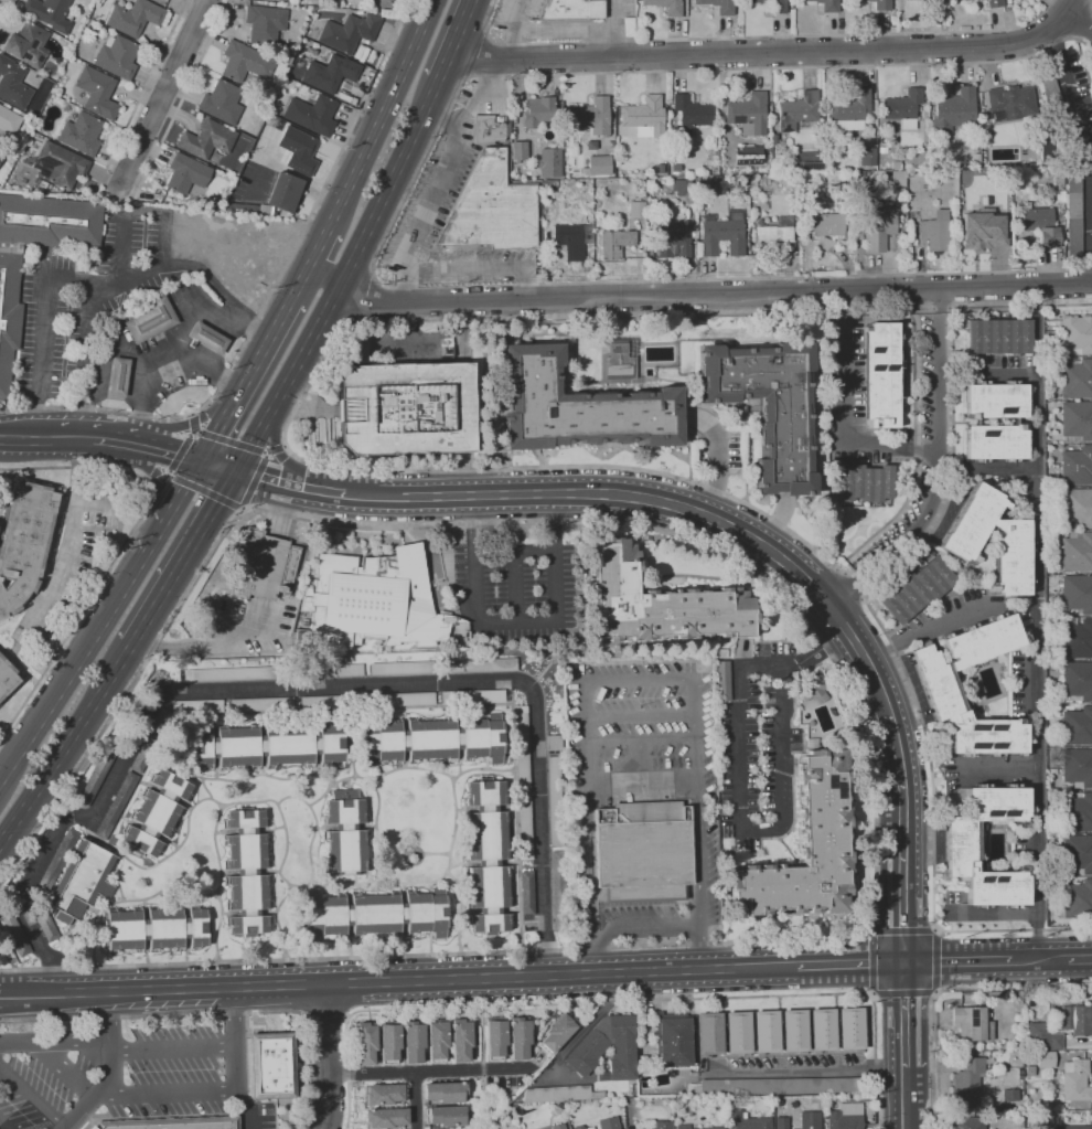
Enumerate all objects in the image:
building: (965, 0)
building: (994, 3)
building: (825, 4)
building: (881, 4)
building: (936, 4)
building: (665, 6)
building: (718, 6)
building: (773, 6)
road: (1066, 6)
road: (4, 9)
building: (571, 9)
building: (50, 13)
building: (135, 17)
road: (1078, 22)
building: (265, 23)
road: (612, 28)
road: (546, 31)
building: (349, 32)
road: (754, 35)
road: (456, 40)
building: (28, 44)
road: (516, 44)
road: (762, 53)
building: (117, 56)
building: (244, 62)
building: (331, 73)
building: (12, 84)
building: (97, 92)
road: (141, 95)
road: (185, 95)
road: (162, 97)
building: (222, 102)
building: (1009, 103)
building: (67, 108)
building: (902, 108)
road: (384, 110)
building: (954, 110)
building: (537, 111)
building: (690, 111)
building: (796, 111)
building: (849, 111)
building: (1057, 111)
building: (312, 114)
building: (748, 114)
road: (1080, 115)
road: (438, 116)
building: (589, 116)
building: (644, 116)
building: (9, 120)
building: (490, 128)
building: (983, 128)
building: (81, 132)
building: (31, 136)
building: (38, 136)
building: (977, 137)
building: (207, 139)
building: (773, 139)
building: (984, 145)
building: (769, 148)
building: (299, 149)
building: (518, 150)
building: (882, 150)
building: (921, 150)
building: (1, 155)
building: (867, 157)
building: (756, 159)
building: (880, 159)
building: (548, 162)
building: (58, 164)
building: (599, 164)
building: (895, 164)
building: (812, 166)
building: (660, 168)
building: (186, 172)
building: (859, 173)
road: (441, 174)
building: (720, 179)
building: (849, 179)
building: (820, 180)
building: (897, 182)
building: (866, 185)
building: (682, 187)
building: (704, 188)
building: (286, 193)
building: (1059, 195)
building: (818, 200)
building: (251, 207)
building: (491, 209)
building: (636, 210)
building: (1073, 215)
road: (398, 217)
building: (1040, 226)
building: (831, 228)
building: (878, 230)
building: (983, 230)
building: (935, 232)
building: (724, 233)
building: (773, 235)
building: (572, 238)
building: (672, 242)
road: (321, 243)
building: (614, 243)
road: (480, 268)
building: (9, 275)
road: (342, 278)
road: (93, 281)
road: (300, 283)
road: (697, 292)
road: (268, 299)
road: (956, 306)
road: (1027, 306)
road: (941, 307)
building: (150, 320)
road: (1036, 331)
building: (1075, 334)
building: (998, 335)
building: (207, 338)
road: (119, 349)
road: (162, 352)
gas station: (169, 354)
building: (620, 360)
road: (89, 361)
road: (206, 369)
building: (881, 375)
building: (118, 376)
road: (987, 376)
building: (1077, 380)
road: (245, 381)
road: (309, 390)
building: (768, 406)
building: (579, 407)
building: (406, 408)
road: (192, 414)
building: (1017, 420)
building: (1075, 422)
road: (192, 423)
road: (189, 424)
road: (192, 430)
road: (842, 433)
road: (44, 440)
road: (111, 441)
road: (283, 444)
road: (240, 445)
road: (913, 448)
road: (277, 452)
road: (168, 454)
road: (180, 454)
traffic signals: (201, 462)
road: (218, 467)
building: (1077, 467)
road: (938, 468)
road: (987, 468)
traffic signals: (236, 471)
road: (169, 475)
road: (171, 477)
road: (159, 479)
road: (253, 480)
road: (291, 483)
building: (865, 483)
road: (149, 484)
road: (161, 486)
road: (206, 492)
building: (1077, 508)
road: (171, 509)
road: (702, 509)
road: (244, 510)
road: (281, 511)
road: (68, 537)
building: (962, 539)
flagpole: (286, 540)
building: (24, 541)
road: (120, 550)
building: (1077, 553)
road: (183, 558)
road: (514, 565)
building: (264, 566)
road: (844, 572)
road: (850, 585)
building: (917, 589)
building: (1078, 594)
road: (863, 598)
building: (374, 600)
building: (657, 601)
road: (794, 607)
road: (516, 620)
road: (927, 628)
road: (814, 632)
road: (212, 637)
building: (1077, 639)
building: (456, 642)
road: (823, 648)
building: (720, 653)
building: (478, 665)
building: (402, 668)
road: (1037, 668)
road: (73, 670)
building: (329, 673)
building: (231, 674)
building: (6, 678)
road: (909, 678)
road: (636, 679)
building: (722, 680)
building: (1077, 680)
road: (308, 686)
building: (813, 689)
road: (848, 689)
building: (943, 694)
building: (473, 696)
building: (403, 700)
building: (332, 702)
building: (260, 704)
building: (196, 706)
road: (641, 715)
building: (1077, 726)
building: (432, 739)
road: (641, 739)
building: (150, 741)
building: (554, 743)
road: (65, 744)
building: (268, 745)
building: (522, 747)
building: (1078, 766)
road: (642, 780)
building: (554, 801)
building: (117, 803)
building: (1077, 811)
building: (156, 812)
road: (740, 822)
building: (525, 827)
building: (345, 833)
building: (963, 848)
building: (805, 849)
building: (643, 852)
building: (1078, 852)
building: (488, 856)
building: (57, 860)
building: (247, 872)
road: (902, 872)
building: (81, 881)
building: (558, 888)
building: (527, 893)
building: (1078, 897)
building: (375, 914)
flagpole: (604, 919)
building: (44, 924)
road: (642, 927)
building: (156, 928)
building: (14, 934)
road: (1080, 959)
road: (1039, 960)
road: (957, 961)
traffic signals: (904, 962)
road: (850, 965)
road: (397, 980)
road: (946, 990)
road: (619, 1001)
road: (211, 1013)
road: (328, 1015)
building: (1075, 1020)
road: (904, 1023)
building: (972, 1023)
building: (852, 1029)
building: (823, 1030)
building: (794, 1031)
building: (766, 1032)
building: (557, 1033)
building: (738, 1033)
road: (480, 1034)
building: (709, 1034)
building: (518, 1037)
building: (495, 1039)
road: (54, 1040)
building: (461, 1040)
building: (672, 1040)
building: (437, 1041)
building: (413, 1042)
building: (1053, 1042)
building: (365, 1043)
building: (389, 1043)
road: (172, 1048)
building: (586, 1051)
road: (329, 1056)
road: (235, 1058)
building: (1046, 1059)
building: (271, 1065)
road: (62, 1067)
road: (482, 1068)
road: (109, 1069)
road: (427, 1071)
building: (1030, 1071)
road: (815, 1072)
parking lot: (119, 1073)
building: (967, 1077)
building: (1075, 1080)
building: (774, 1086)
road: (482, 1087)
road: (164, 1091)
building: (445, 1091)
building: (384, 1094)
building: (561, 1094)
road: (31, 1095)
building: (1010, 1095)
road: (416, 1100)
road: (906, 1107)
building: (556, 1109)
building: (446, 1116)
building: (845, 1116)
building: (385, 1118)
building: (810, 1120)
building: (749, 1122)
building: (781, 1122)
building: (968, 1122)
building: (175, 1123)
building: (609, 1123)
road: (4, 1125)
building: (655, 1125)
building: (682, 1126)
building: (558, 1127)
building: (578, 1127)
building: (1072, 1127)
building: (92, 1128)
building: (716, 1128)

